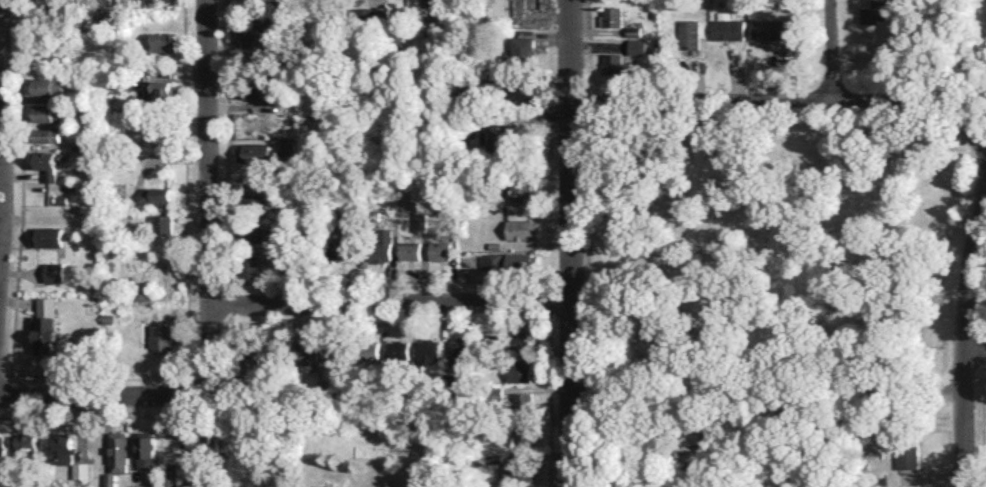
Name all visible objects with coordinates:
building: (532, 5)
building: (873, 12)
building: (365, 13)
building: (613, 15)
building: (728, 28)
building: (768, 28)
building: (254, 29)
road: (0, 31)
building: (690, 36)
building: (430, 37)
building: (397, 38)
building: (164, 42)
building: (637, 46)
building: (524, 49)
road: (830, 51)
building: (257, 61)
building: (618, 64)
building: (48, 86)
road: (226, 87)
building: (159, 89)
building: (252, 89)
building: (523, 89)
road: (789, 103)
building: (49, 112)
road: (512, 112)
building: (50, 134)
building: (500, 138)
building: (287, 146)
building: (254, 152)
building: (46, 163)
road: (250, 182)
building: (520, 185)
road: (186, 189)
road: (209, 193)
building: (158, 196)
building: (255, 200)
building: (419, 223)
building: (160, 224)
building: (522, 228)
building: (254, 234)
building: (48, 236)
road: (571, 243)
building: (381, 244)
building: (339, 247)
park: (773, 248)
building: (440, 250)
building: (410, 251)
building: (492, 261)
building: (519, 262)
building: (251, 266)
building: (55, 271)
building: (142, 293)
road: (391, 302)
building: (46, 323)
road: (966, 332)
building: (160, 336)
building: (496, 338)
building: (521, 342)
road: (975, 349)
building: (369, 350)
building: (399, 350)
building: (429, 350)
building: (334, 351)
building: (456, 351)
building: (250, 352)
building: (307, 355)
building: (519, 372)
road: (103, 395)
building: (523, 401)
road: (838, 418)
building: (691, 434)
building: (523, 435)
building: (211, 441)
building: (2, 444)
building: (26, 446)
building: (63, 447)
building: (119, 451)
building: (908, 455)
building: (494, 457)
building: (81, 470)
building: (518, 470)
building: (171, 475)

